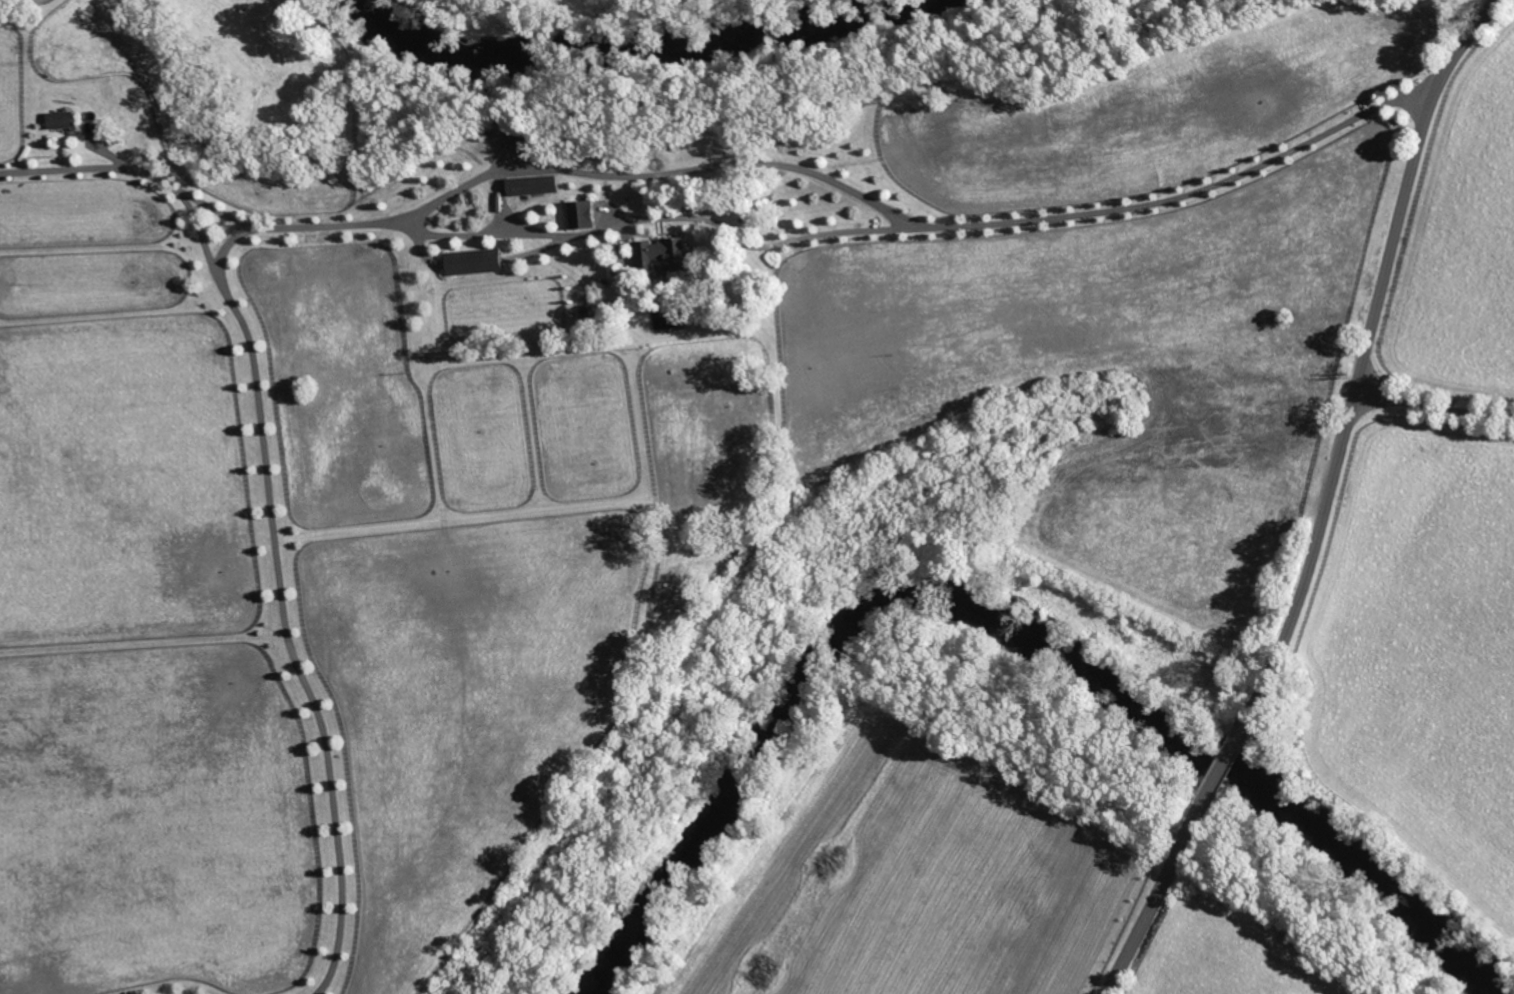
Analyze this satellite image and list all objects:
building: (56, 120)
road: (125, 171)
road: (663, 174)
building: (530, 185)
road: (501, 204)
building: (577, 214)
road: (837, 233)
building: (658, 253)
building: (471, 261)
road: (1368, 346)
road: (1433, 420)
road: (284, 603)
road: (1232, 753)
road: (1162, 898)

